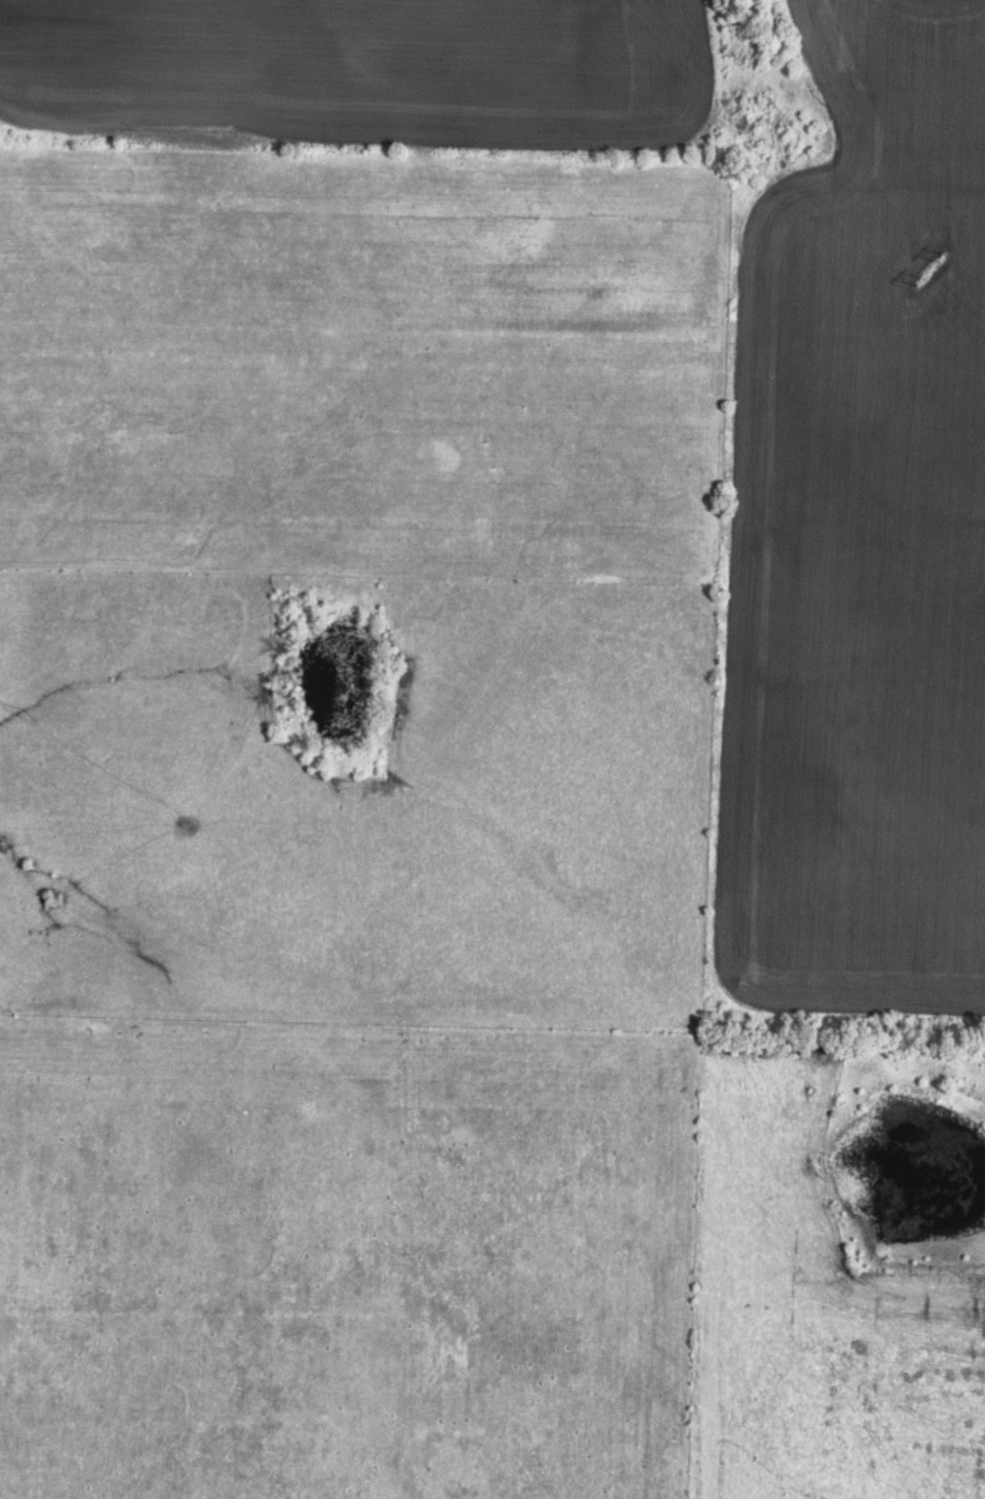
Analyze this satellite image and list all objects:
power tower: (944, 259)
power tower: (918, 280)

